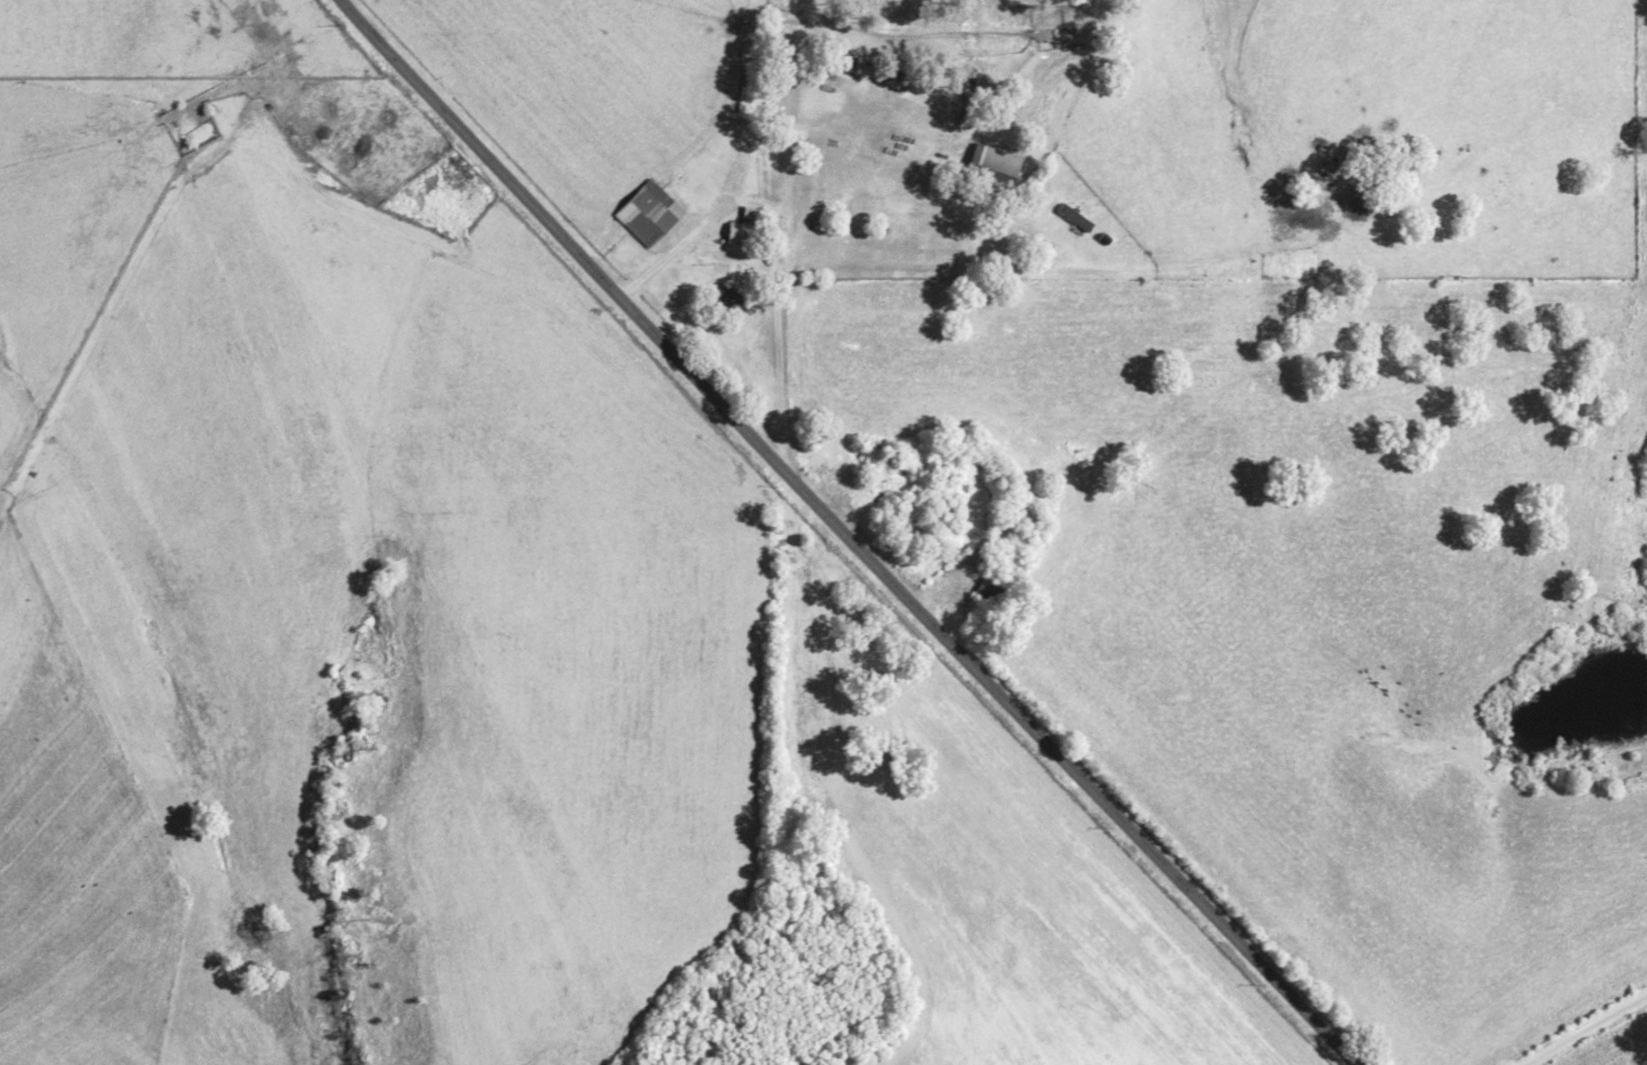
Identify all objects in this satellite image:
building: (992, 165)
building: (749, 212)
building: (646, 213)
building: (1073, 217)
building: (738, 233)
road: (843, 535)
road: (1585, 1028)

